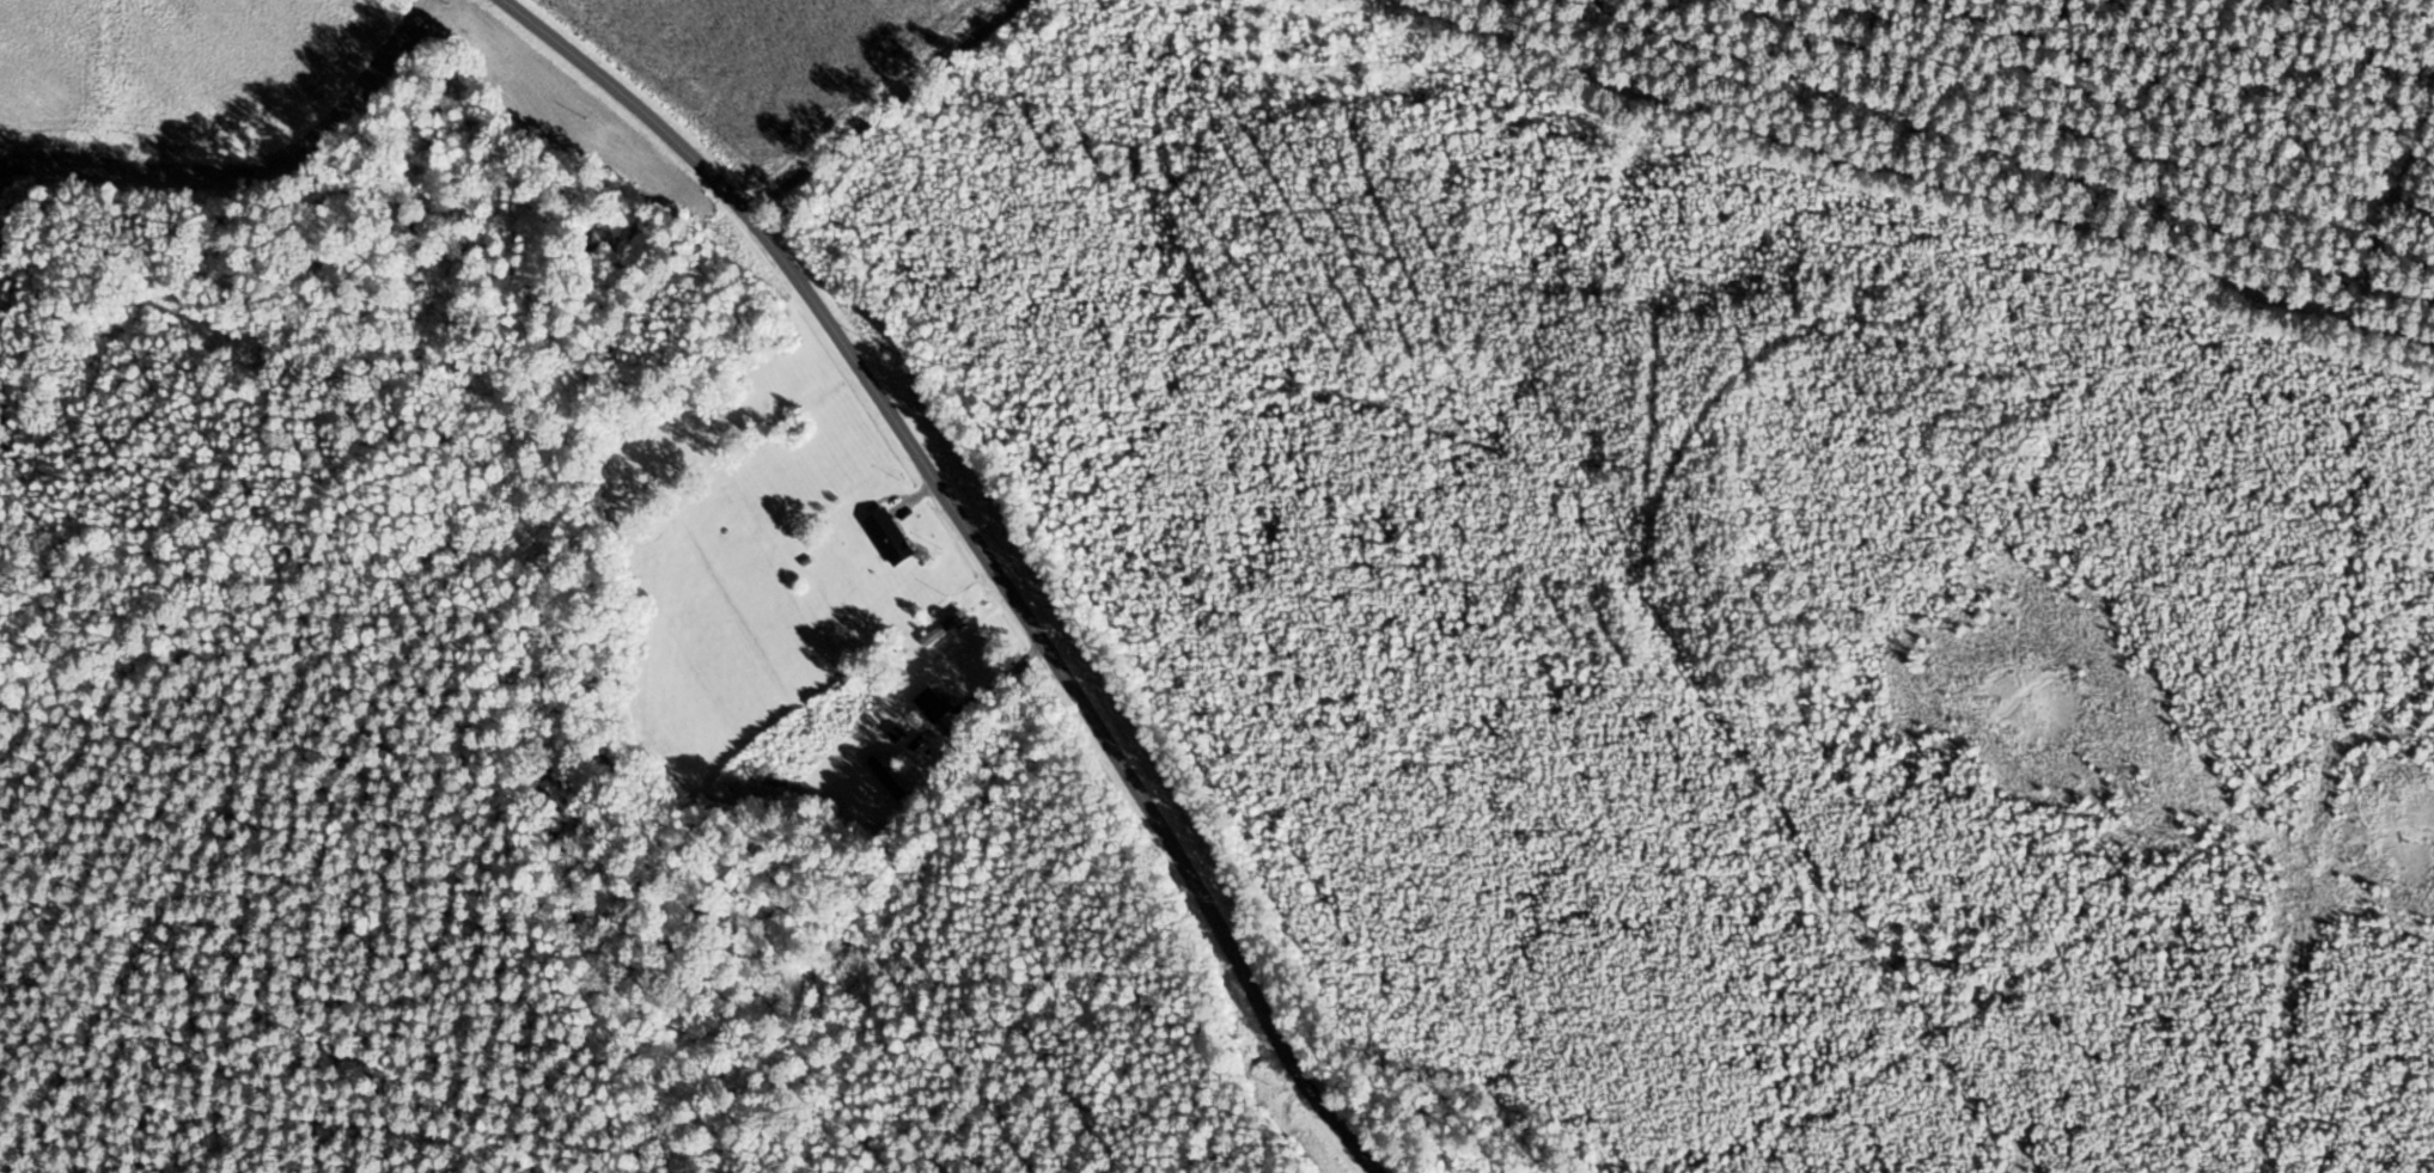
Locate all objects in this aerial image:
park: (915, 108)
park: (2078, 117)
building: (885, 537)
road: (982, 551)
building: (940, 628)
park: (1628, 646)
building: (928, 705)
building: (886, 778)
building: (858, 808)

